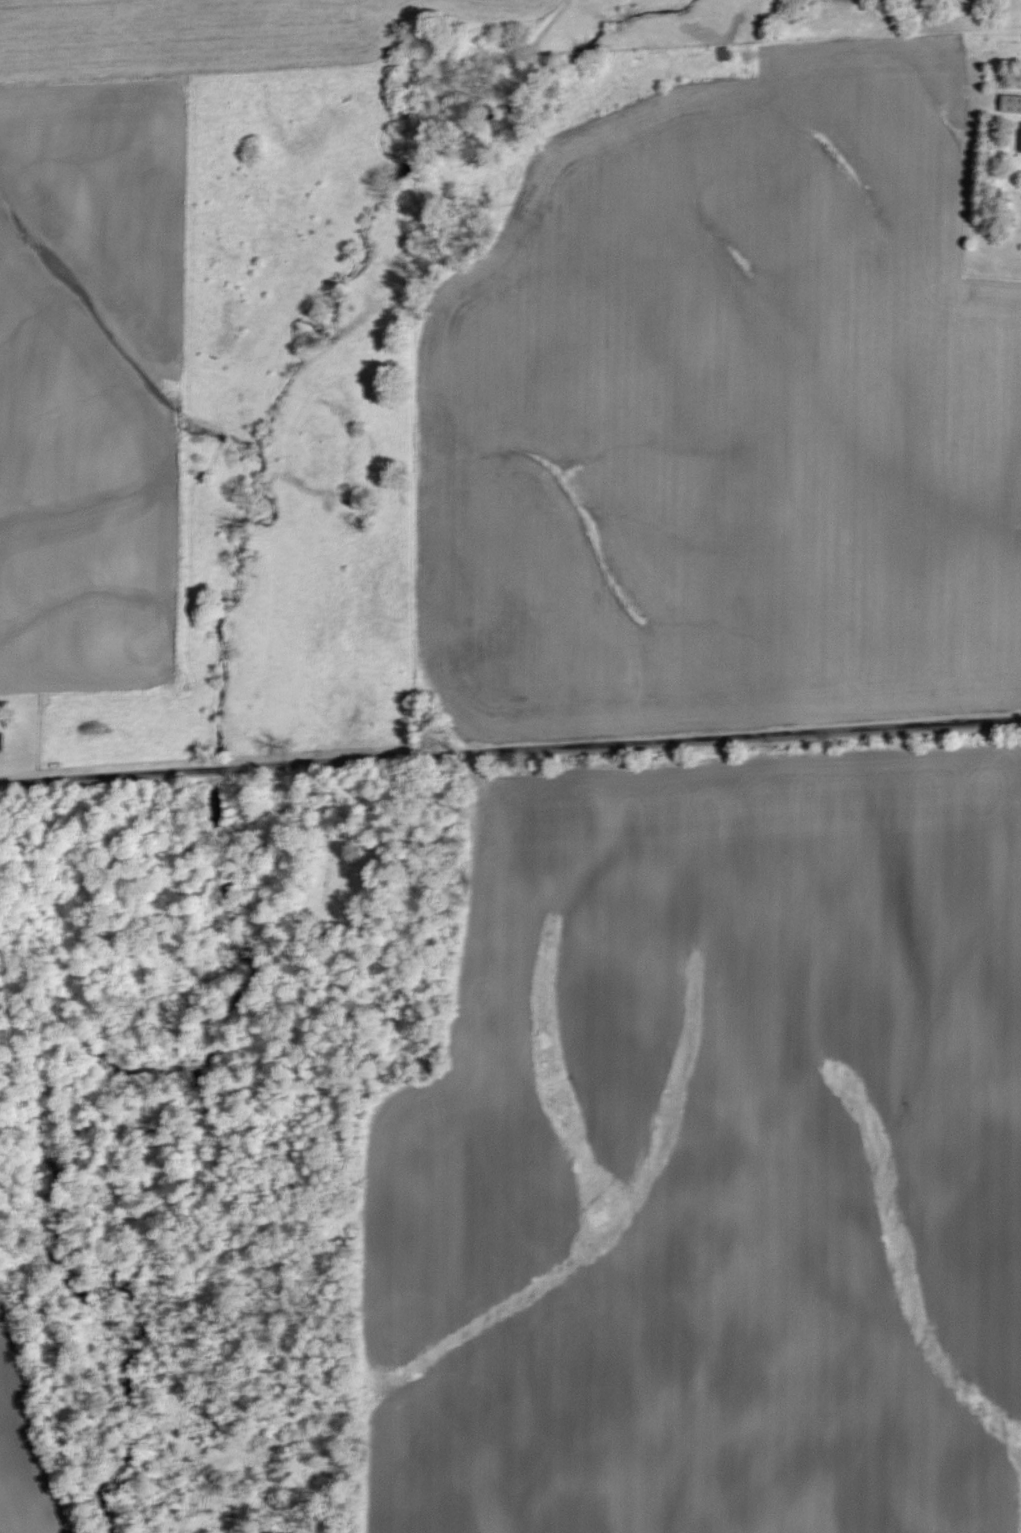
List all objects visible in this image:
building: (1010, 104)
building: (1020, 140)
building: (0, 742)
road: (510, 747)

